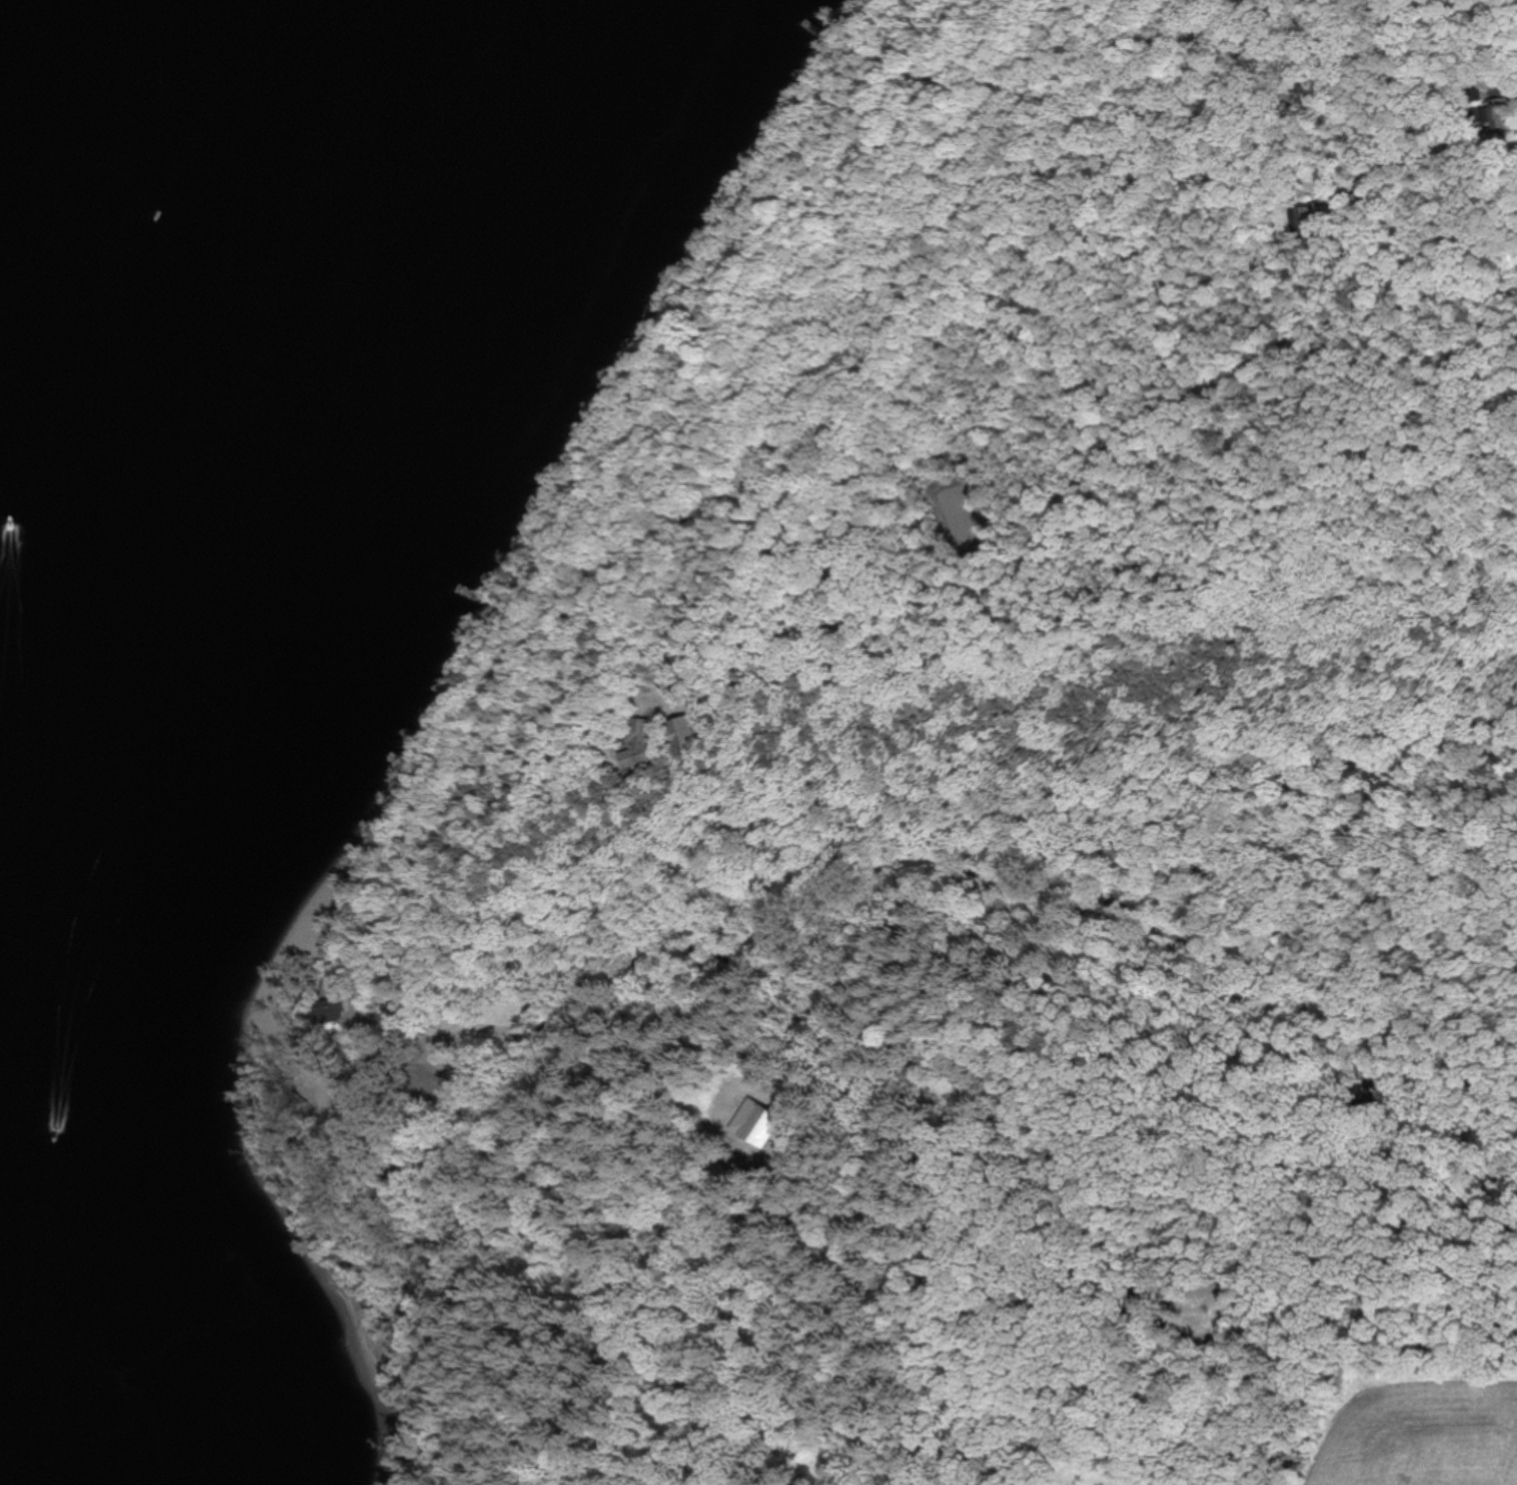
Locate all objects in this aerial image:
building: (1291, 95)
river: (40, 100)
road: (1470, 153)
building: (1357, 203)
building: (1317, 212)
building: (639, 741)
crop: (1418, 1423)

